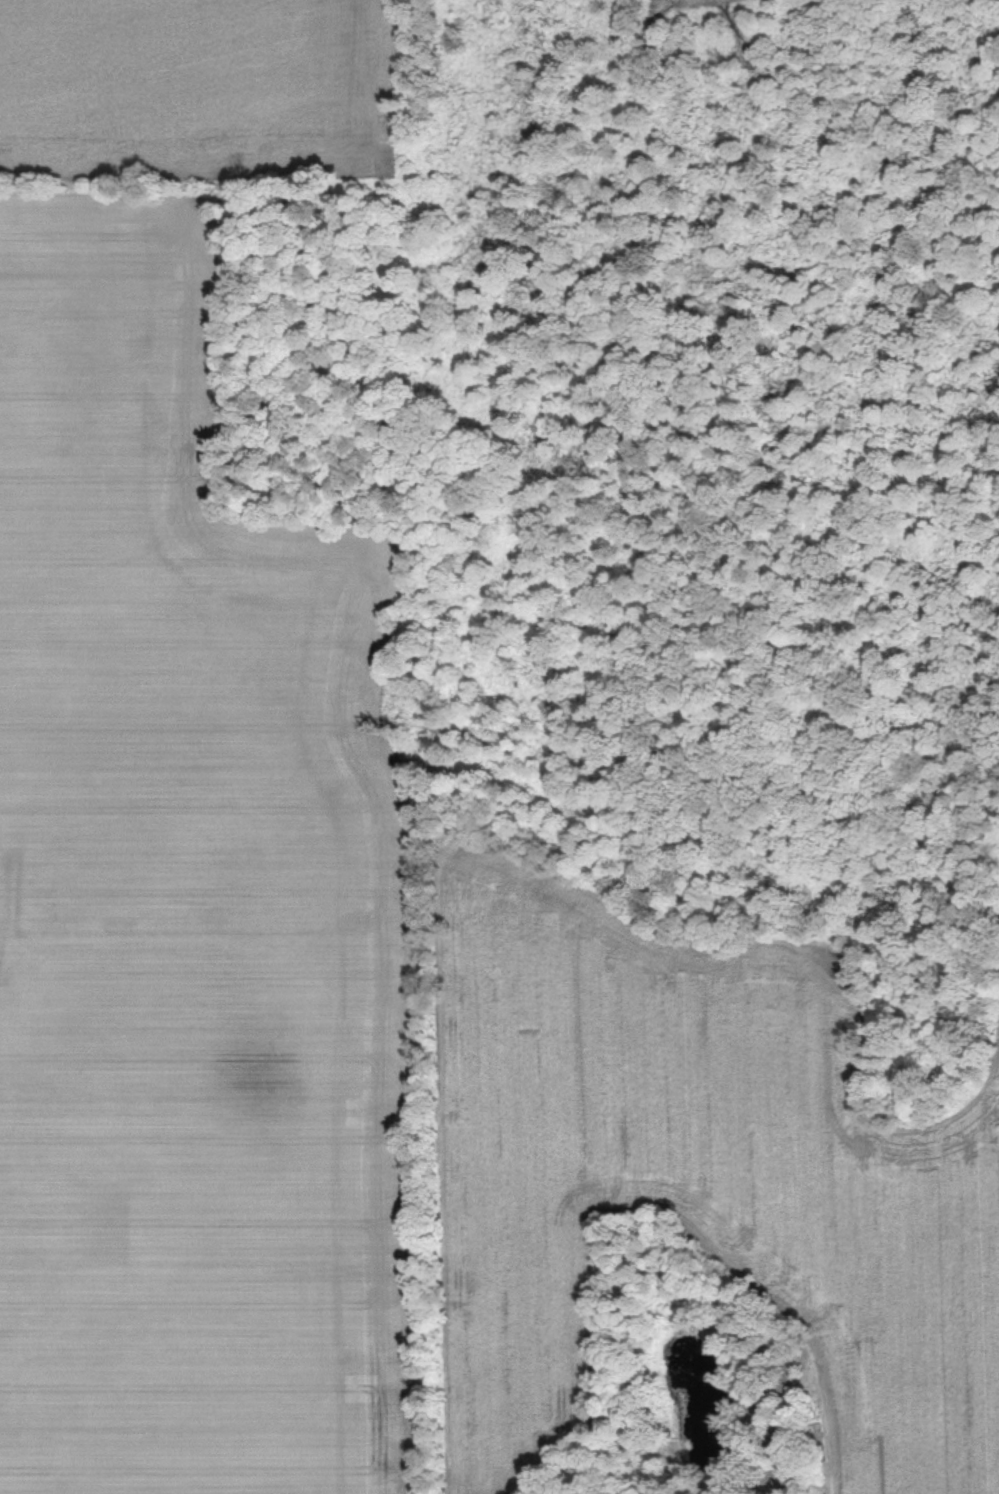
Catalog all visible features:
crop: (197, 87)
crop: (176, 615)
crop: (698, 1175)
crop: (208, 1218)

